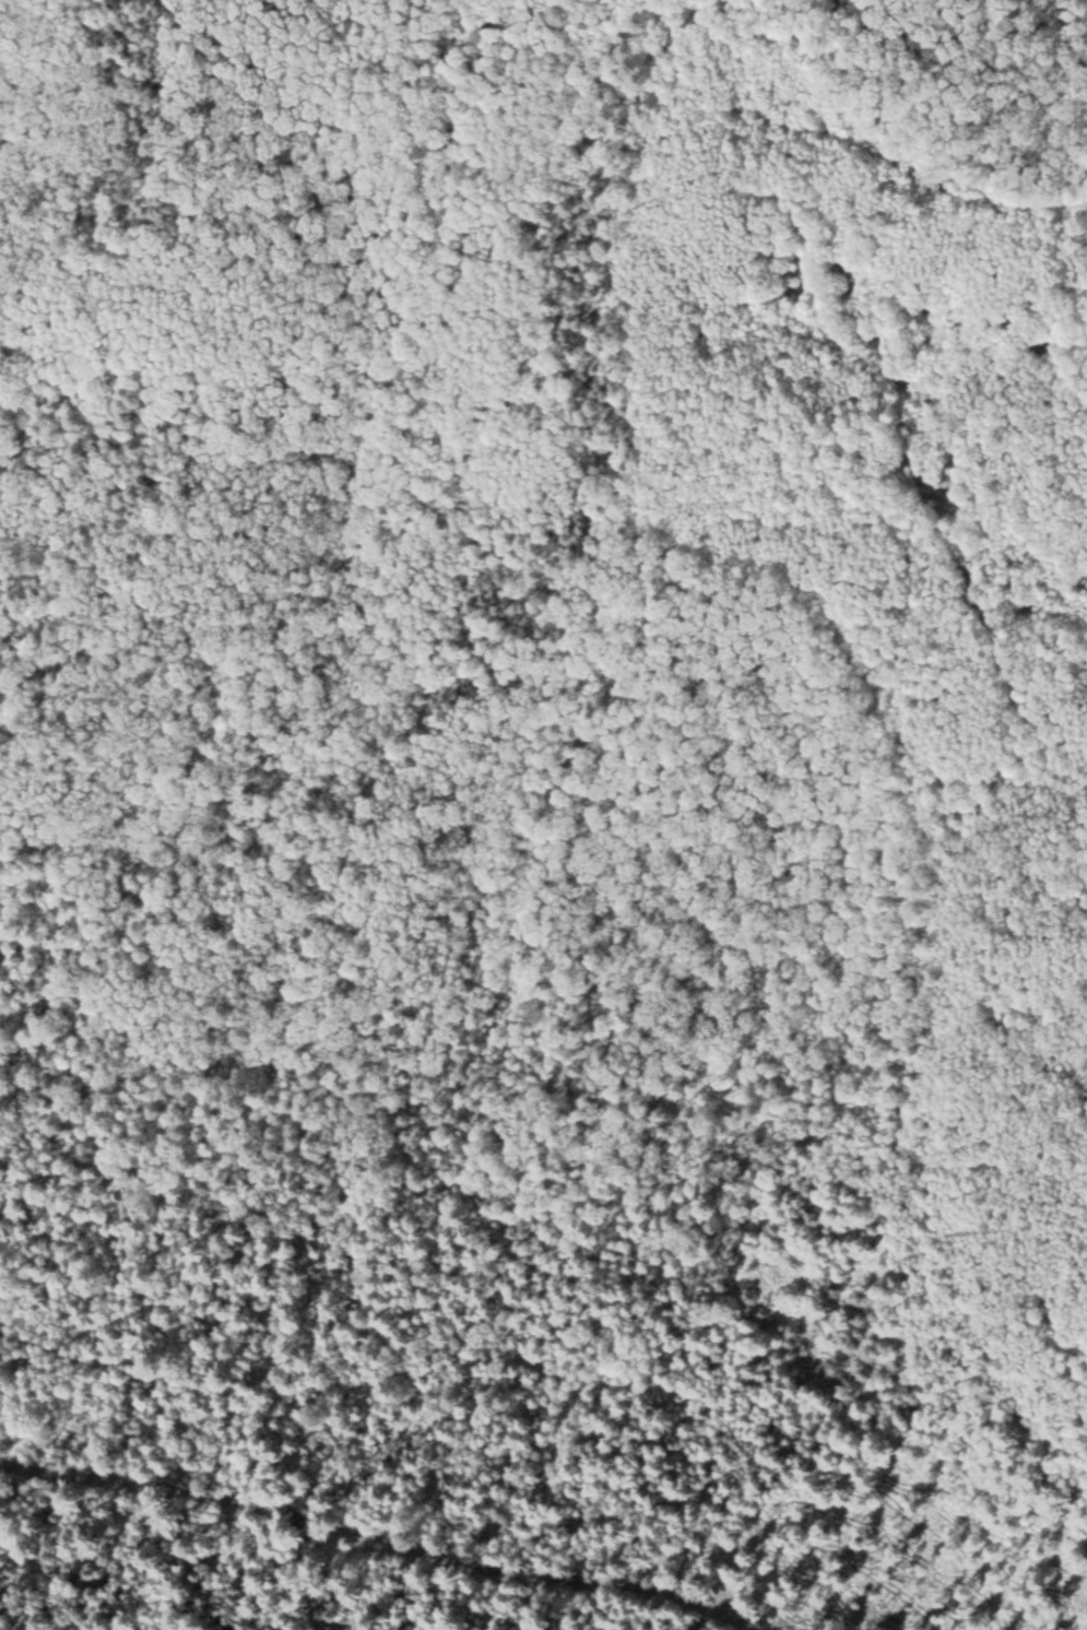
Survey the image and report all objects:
road: (383, 1546)

